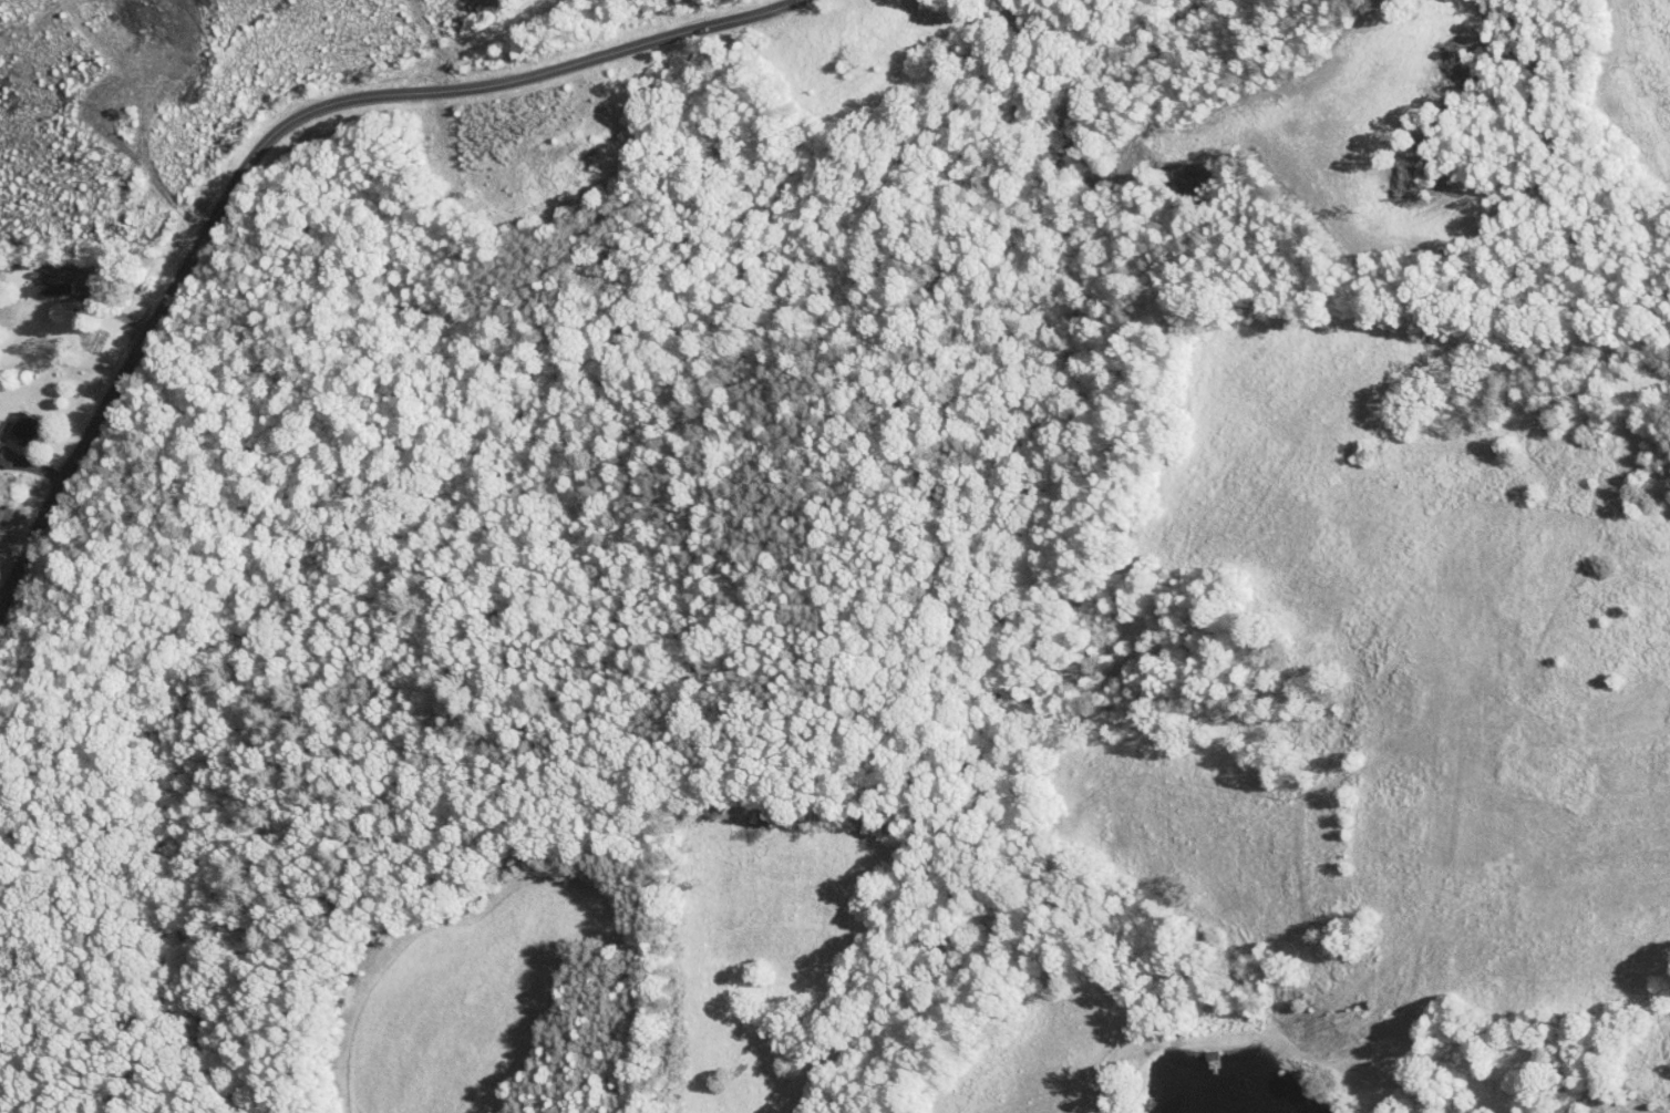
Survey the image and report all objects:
road: (367, 93)
road: (84, 275)
building: (44, 280)
building: (14, 420)
building: (2, 451)

